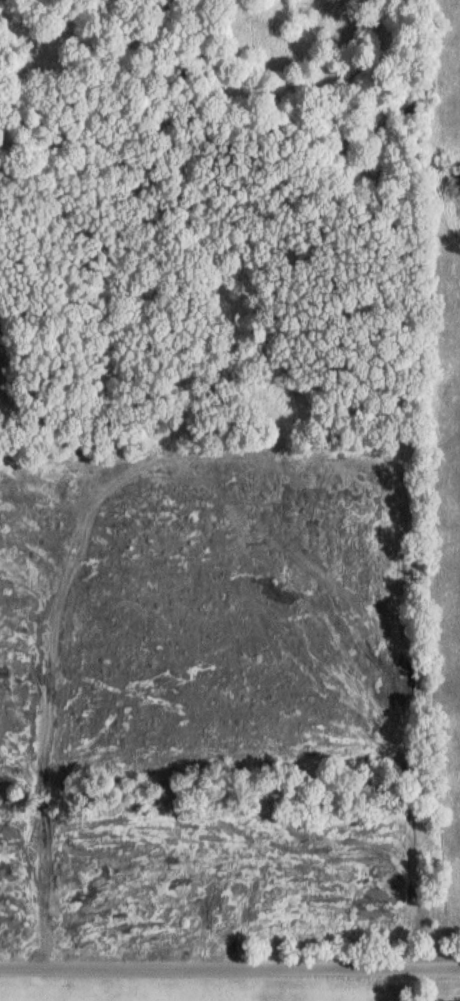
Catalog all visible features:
road: (230, 966)

